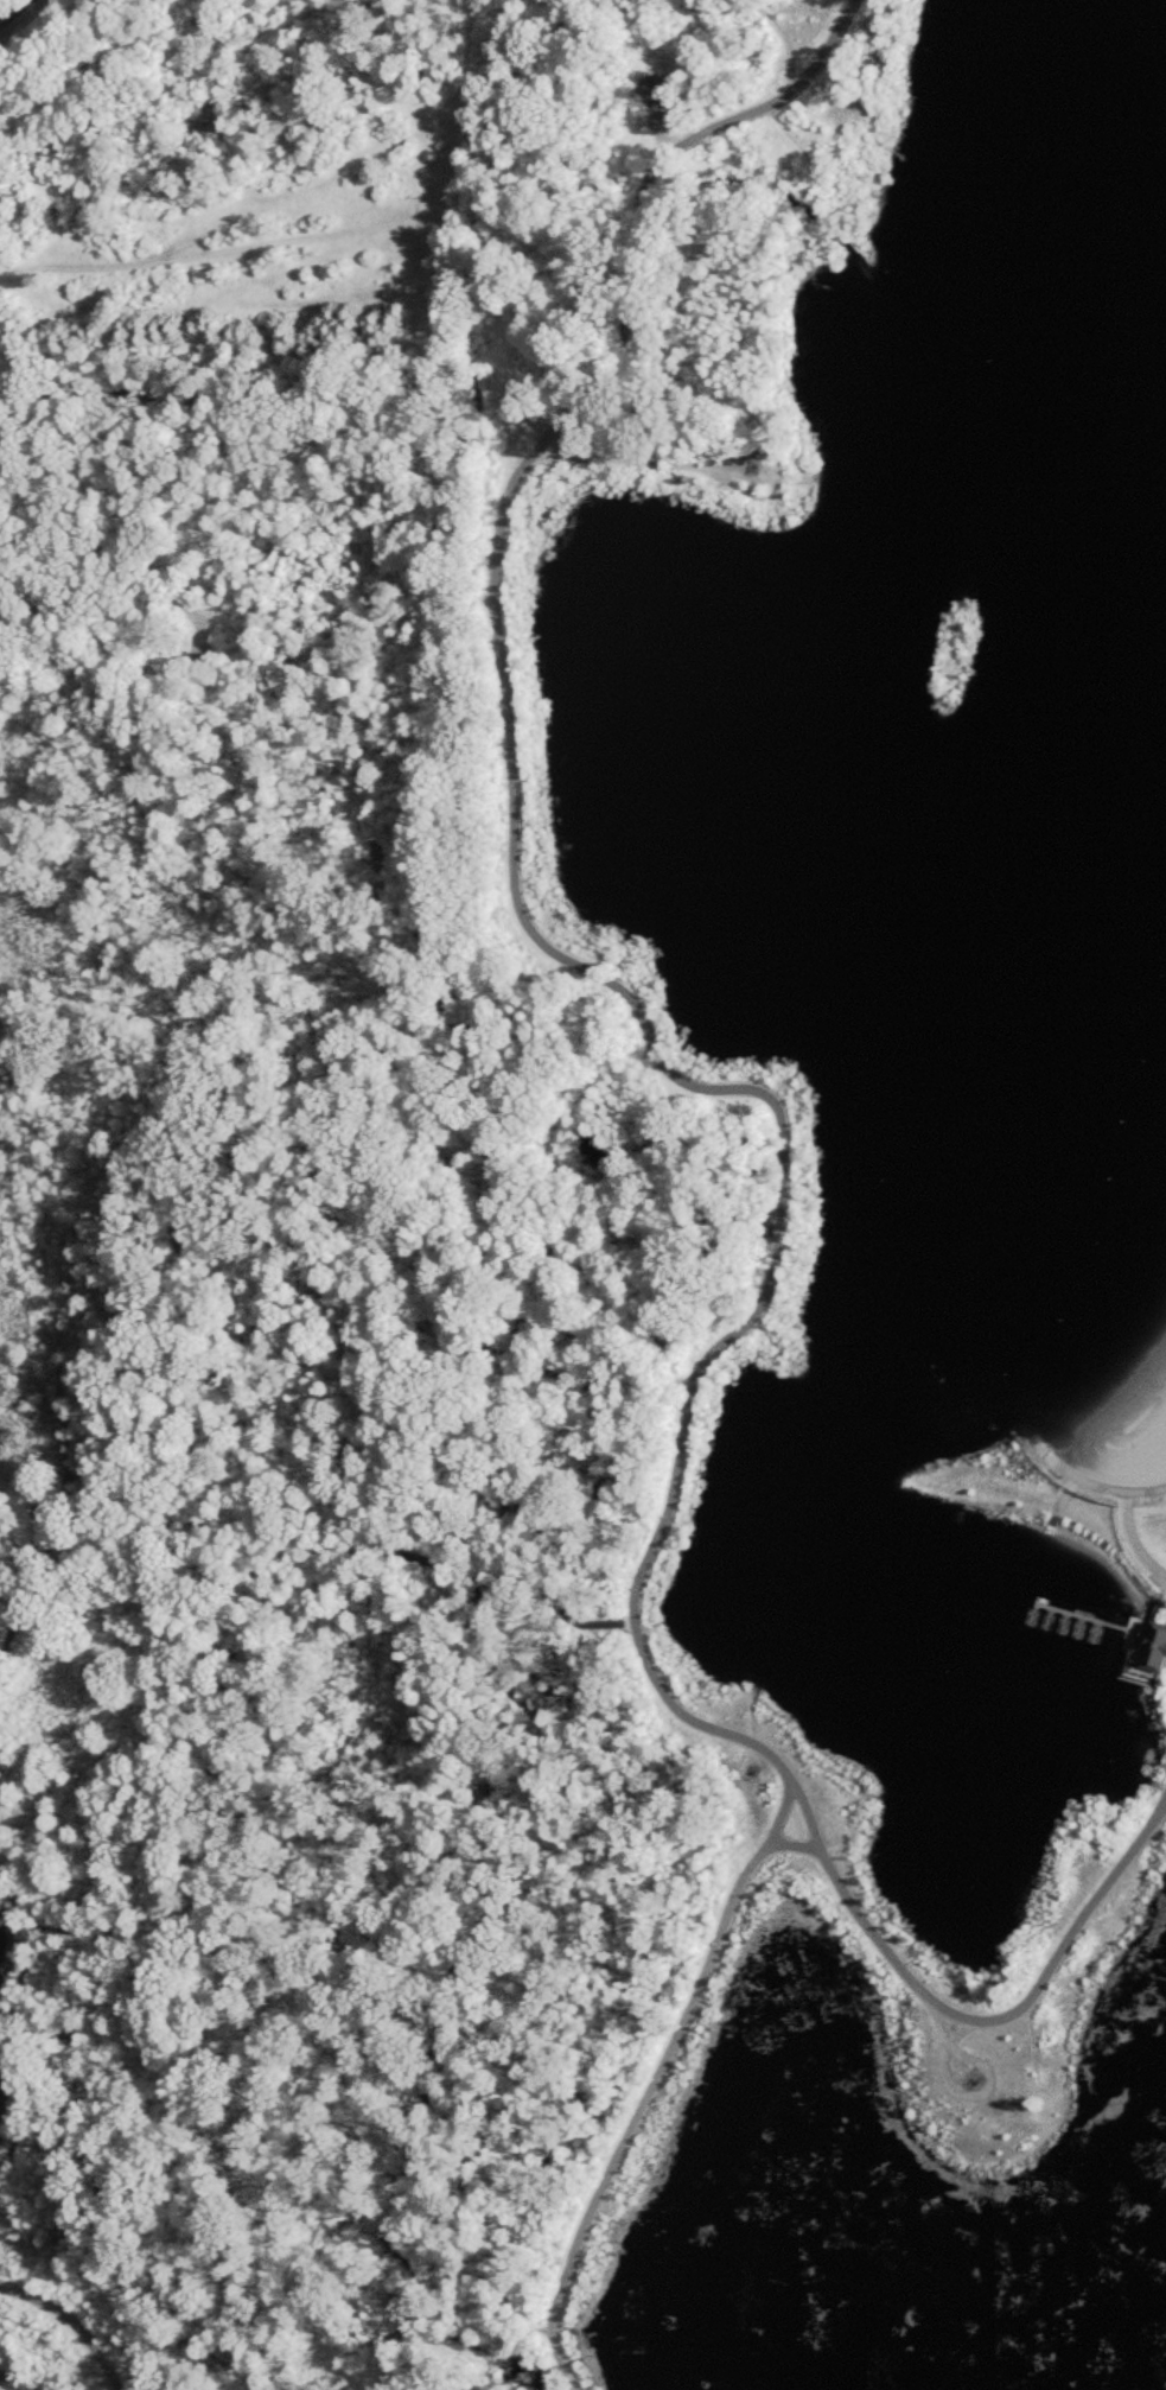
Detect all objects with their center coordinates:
road: (13, 9)
road: (707, 466)
road: (547, 947)
park: (585, 1199)
road: (1089, 1483)
road: (1132, 1540)
road: (374, 1550)
road: (293, 1558)
road: (512, 1575)
road: (1161, 1584)
road: (1155, 1607)
road: (1031, 1613)
road: (1046, 1617)
road: (1084, 1617)
road: (630, 1621)
road: (1062, 1622)
road: (1077, 1627)
road: (1092, 1632)
building: (1154, 1648)
road: (1127, 1663)
road: (1164, 1672)
road: (232, 1705)
road: (783, 1816)
road: (810, 1822)
road: (798, 1846)
road: (1008, 2015)
road: (11, 2021)
road: (987, 2084)
road: (639, 2110)
road: (71, 2322)
road: (4, 2386)

